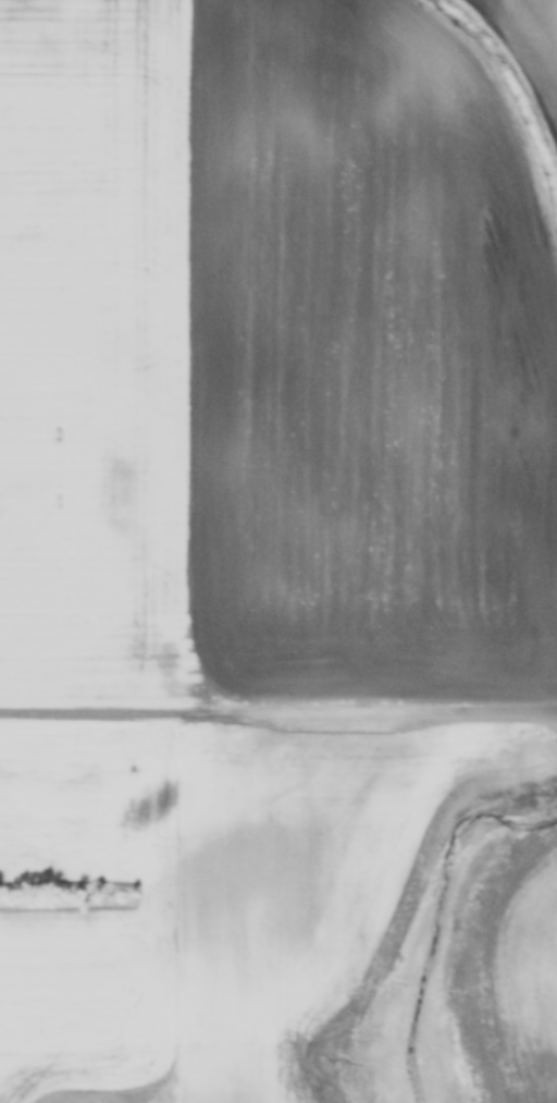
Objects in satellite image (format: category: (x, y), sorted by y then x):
road: (278, 714)

